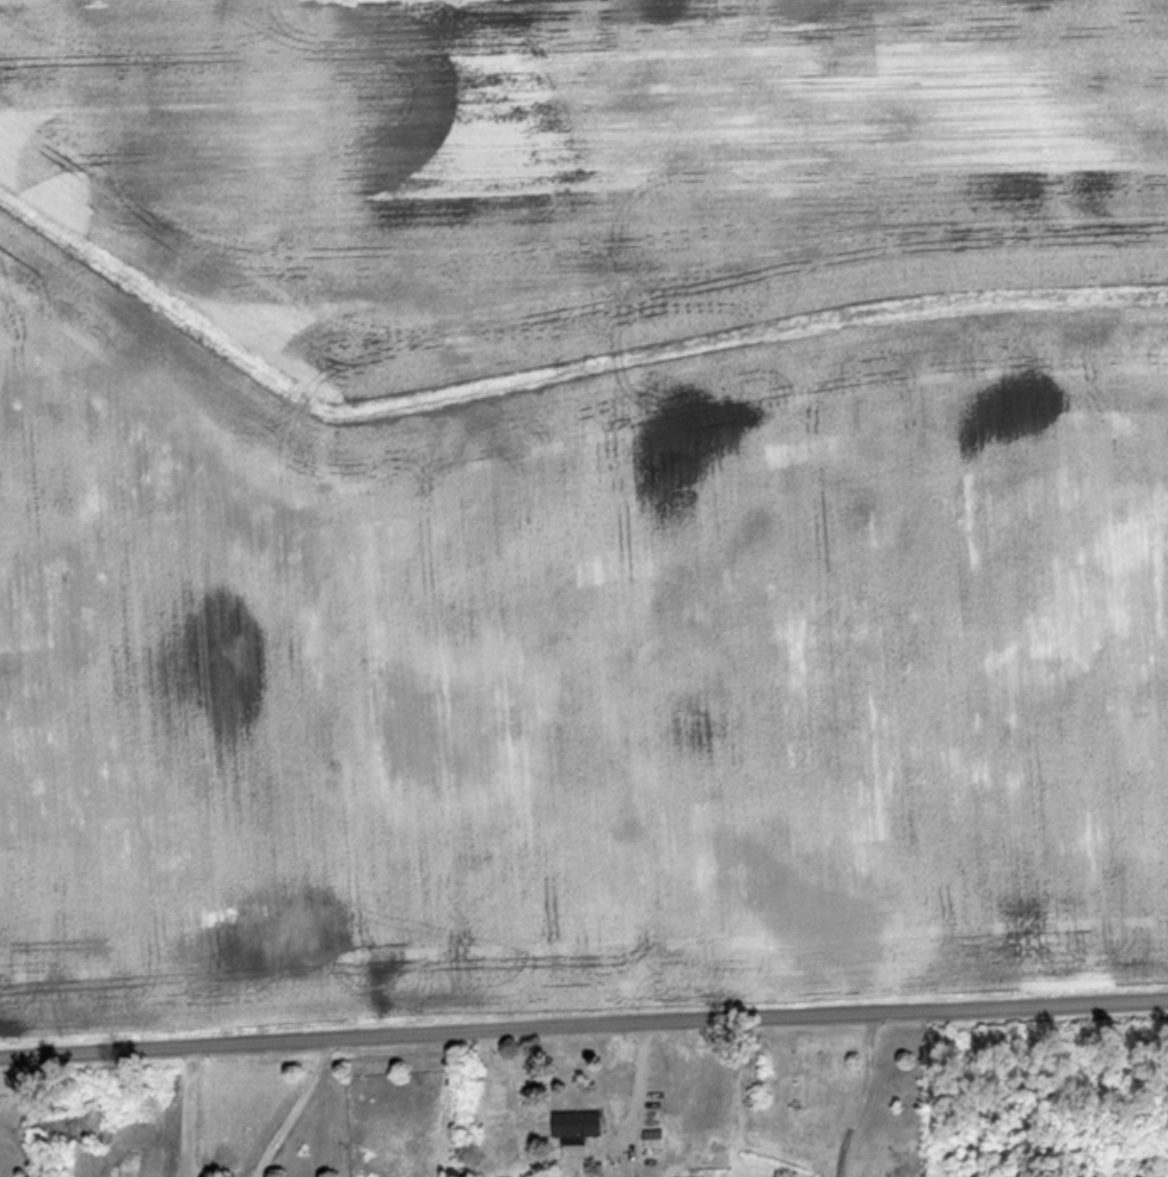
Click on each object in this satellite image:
road: (583, 1026)
road: (862, 1096)
road: (295, 1108)
road: (190, 1110)
building: (572, 1124)
building: (650, 1140)

